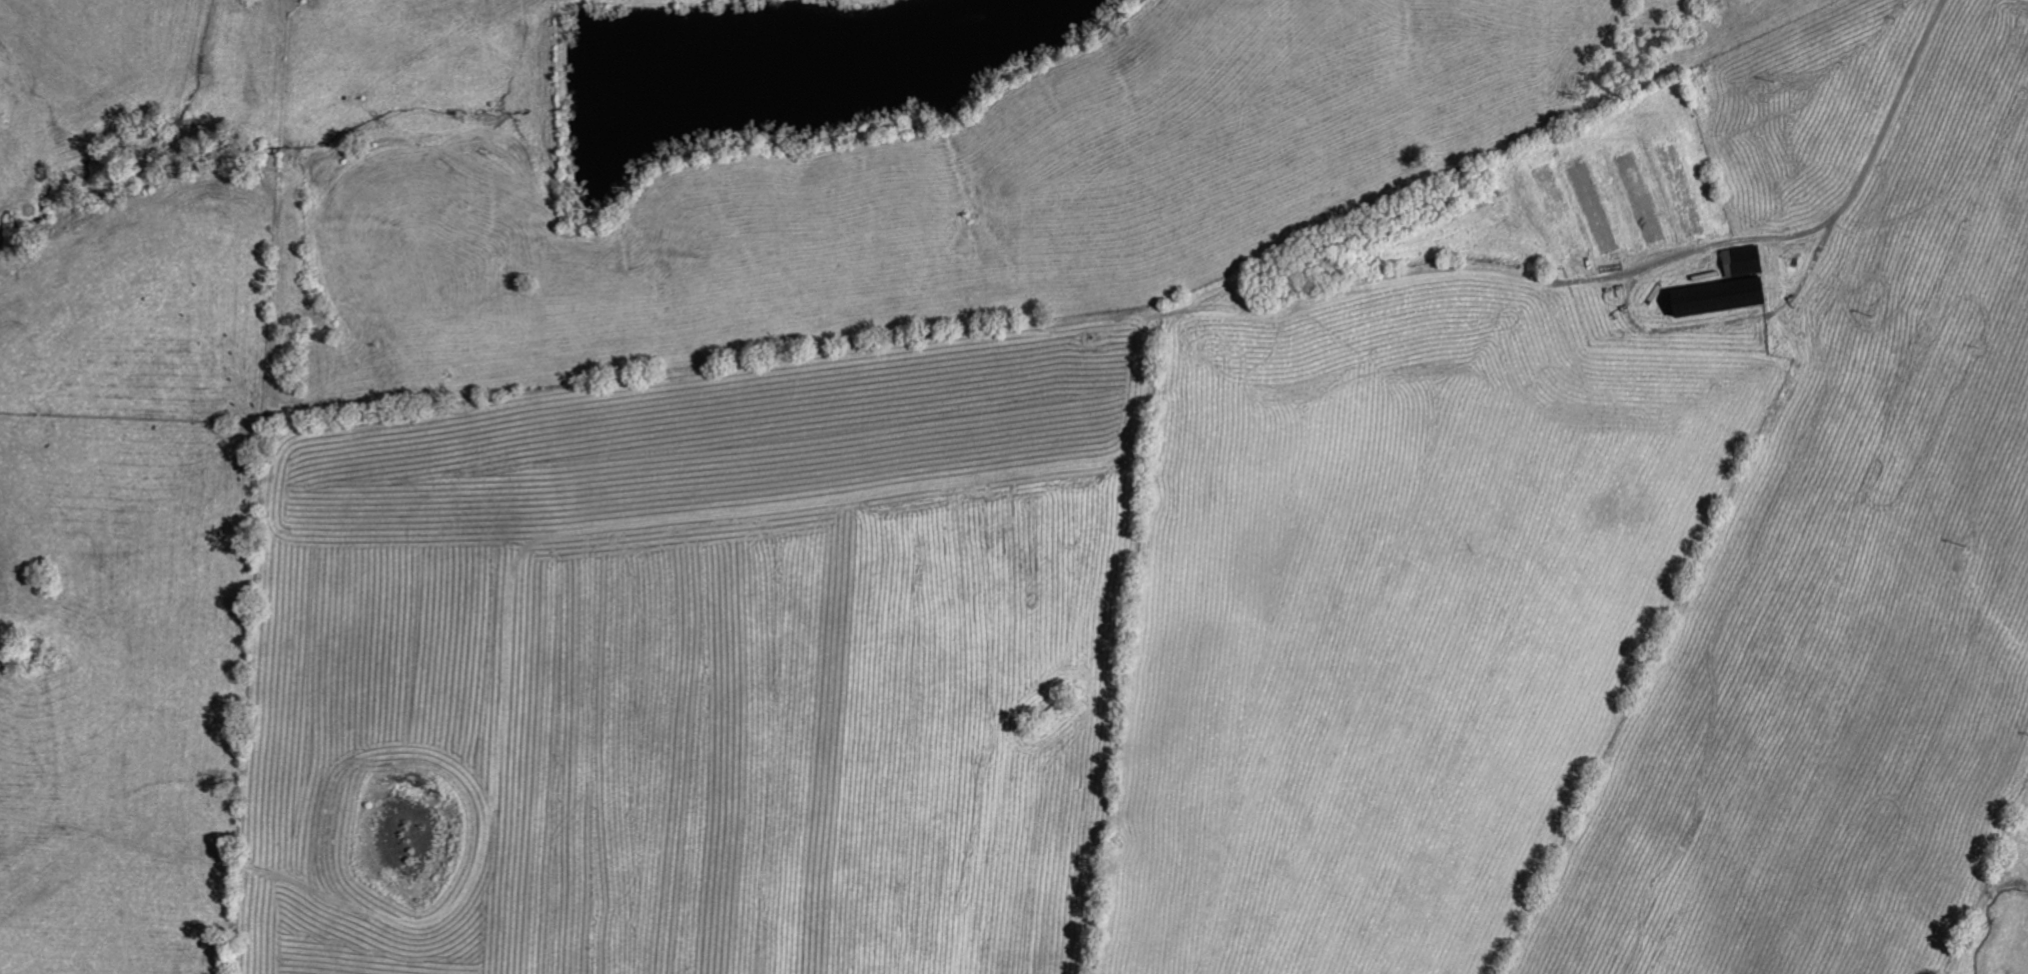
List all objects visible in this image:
building: (1741, 262)
building: (1712, 299)

